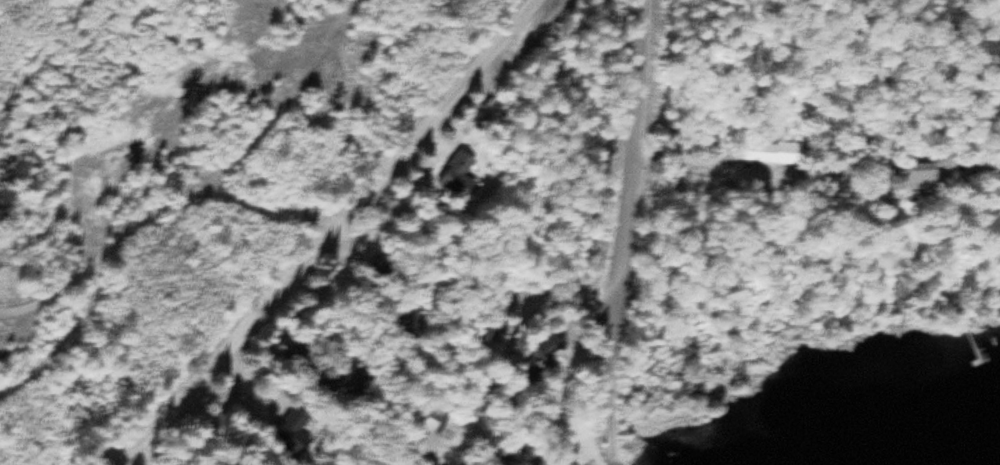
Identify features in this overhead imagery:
road: (632, 143)
building: (775, 153)
building: (464, 176)
building: (926, 177)
road: (161, 209)
road: (333, 238)
building: (387, 266)
building: (420, 321)
building: (496, 331)
building: (965, 337)
road: (513, 343)
building: (548, 356)
road: (608, 373)
building: (344, 381)
building: (440, 422)
building: (300, 437)

